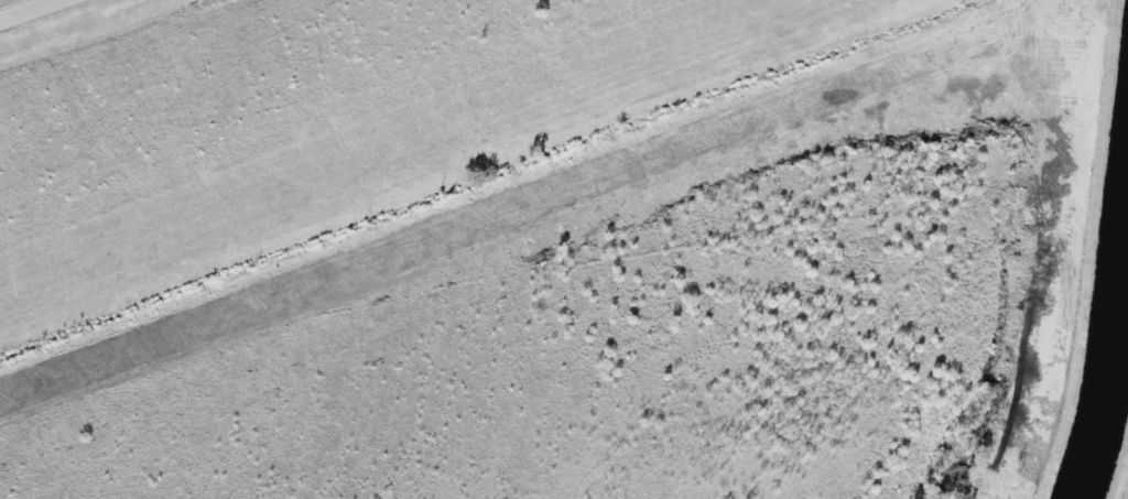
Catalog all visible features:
road: (28, 9)
river: (1099, 411)

